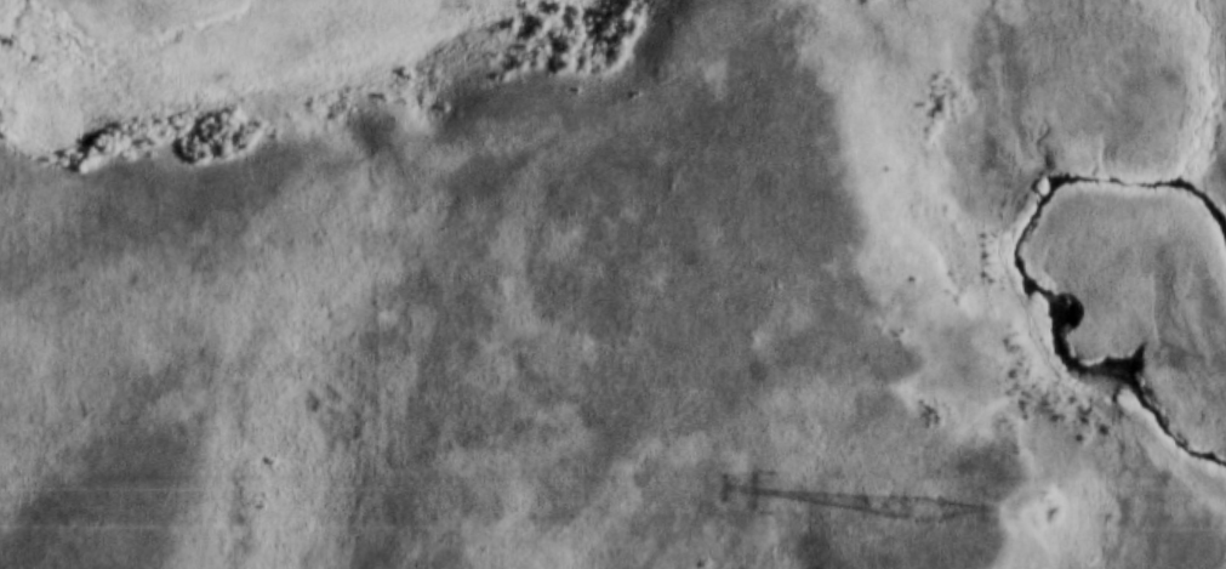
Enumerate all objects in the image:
power tower: (923, 508)

